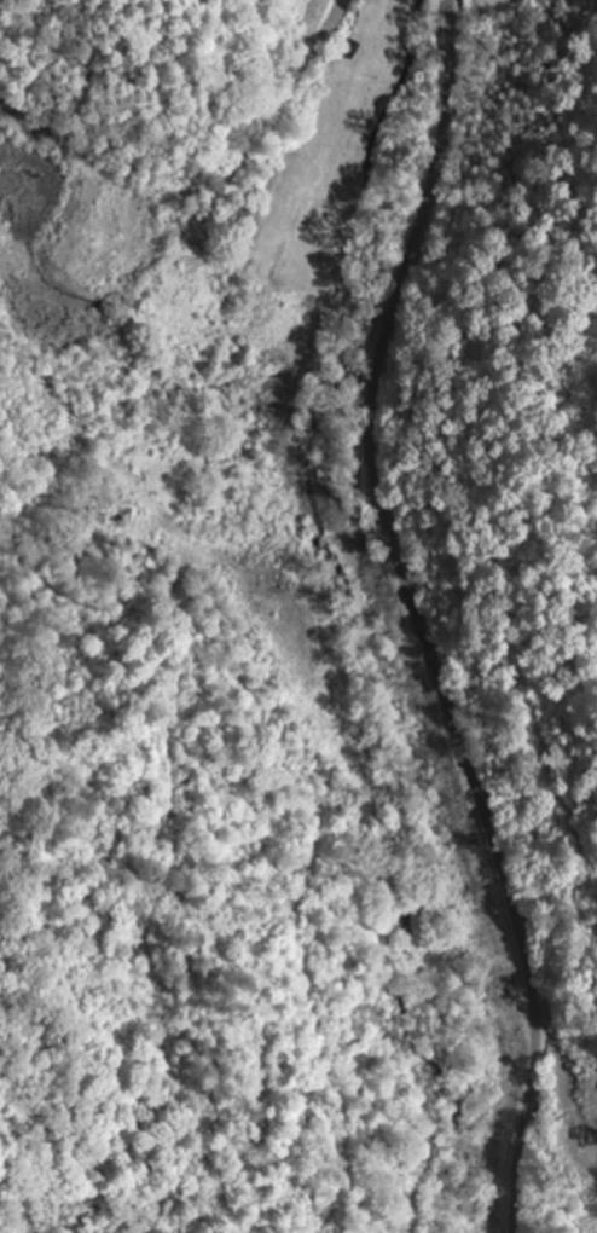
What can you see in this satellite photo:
road: (413, 618)
road: (379, 1164)

